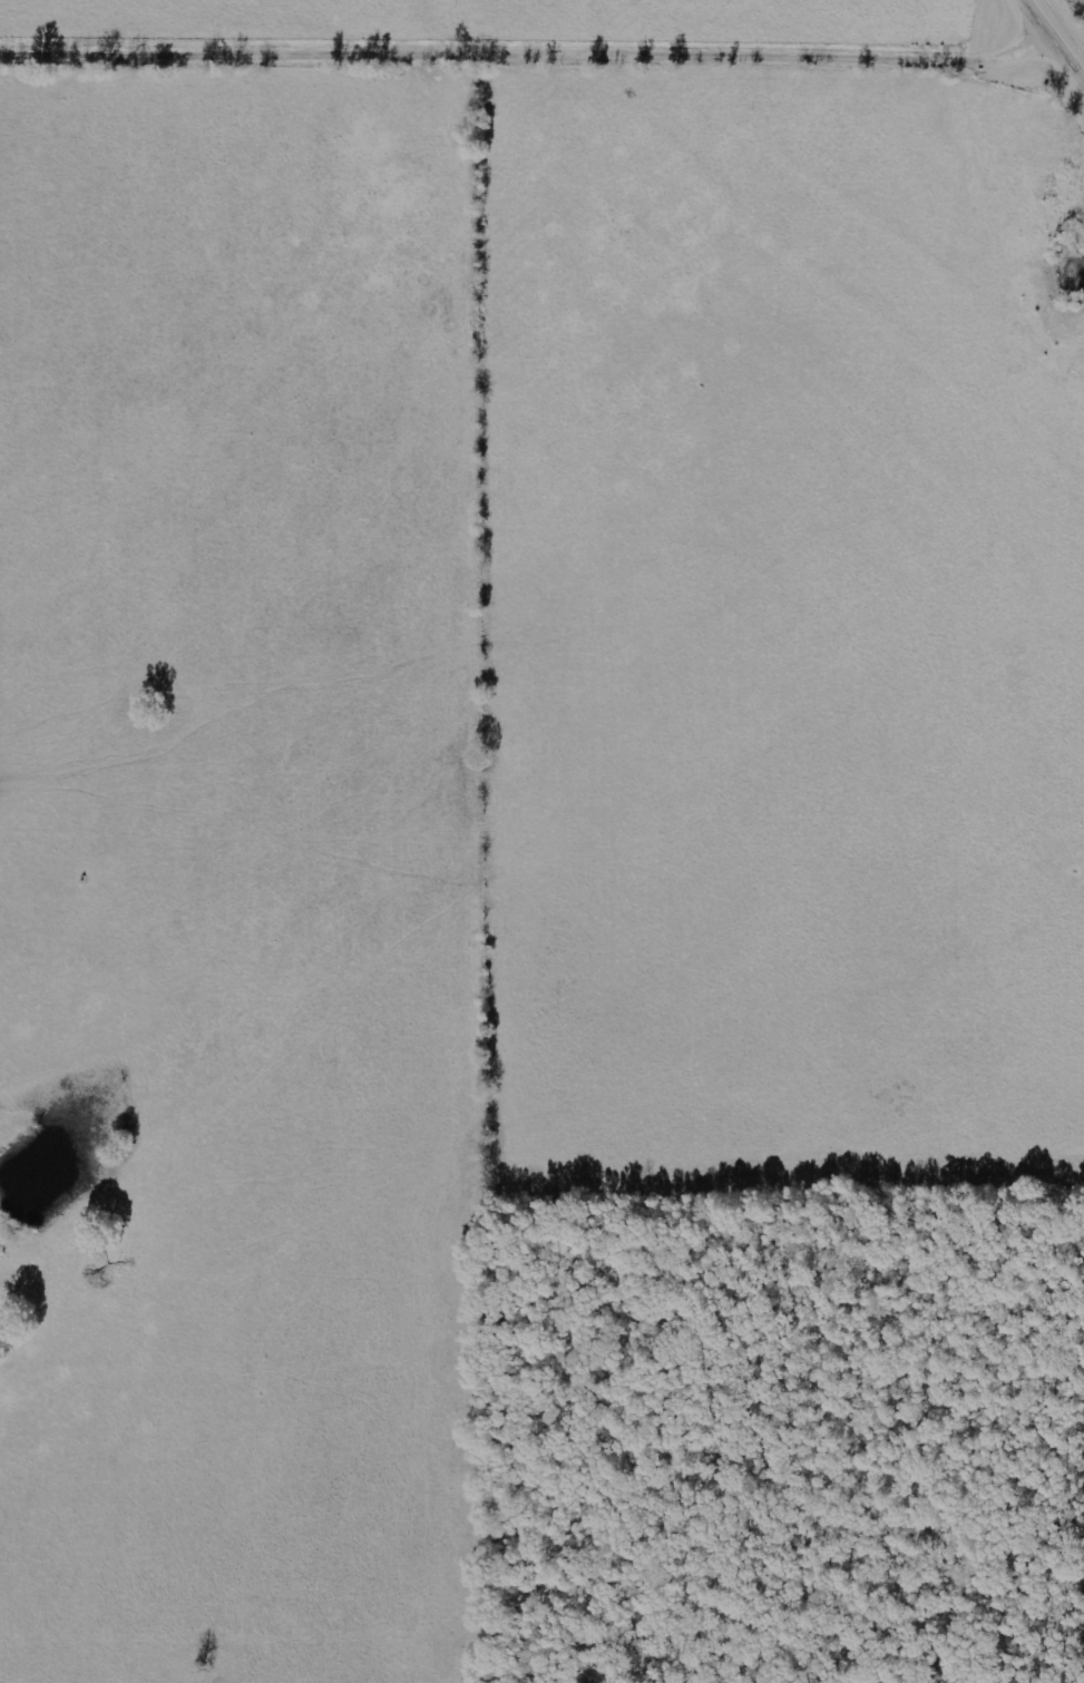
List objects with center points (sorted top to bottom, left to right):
road: (1053, 41)
road: (535, 58)

